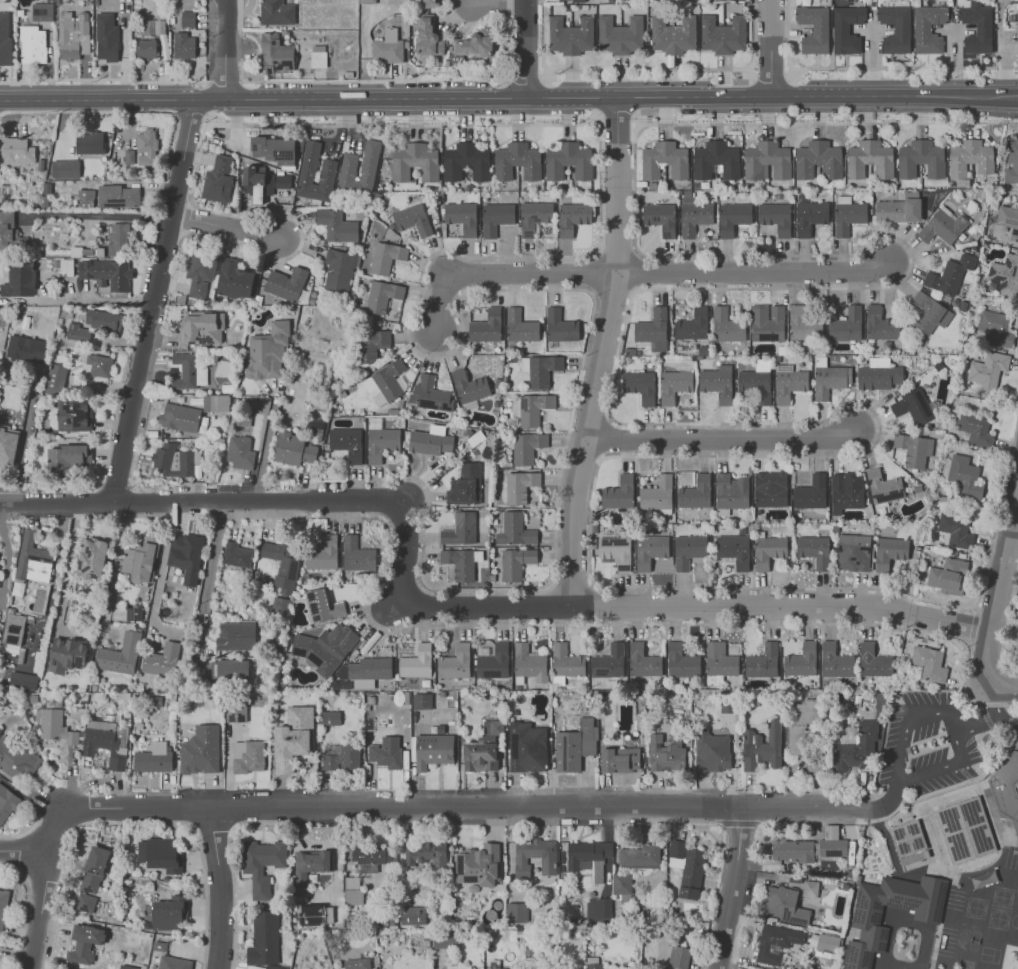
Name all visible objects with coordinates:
building: (571, 0)
building: (367, 1)
building: (428, 3)
road: (496, 6)
building: (42, 12)
building: (276, 12)
building: (1017, 17)
building: (187, 19)
building: (976, 26)
building: (154, 27)
building: (846, 28)
building: (895, 28)
building: (928, 28)
building: (814, 29)
building: (619, 34)
building: (672, 34)
building: (722, 34)
building: (73, 35)
building: (570, 35)
building: (428, 36)
road: (542, 36)
building: (107, 37)
road: (752, 37)
building: (5, 38)
building: (33, 45)
building: (184, 45)
building: (472, 45)
building: (387, 46)
road: (528, 46)
road: (770, 46)
road: (226, 47)
road: (1000, 47)
building: (146, 49)
building: (275, 54)
road: (899, 67)
road: (646, 69)
road: (104, 79)
road: (770, 80)
road: (224, 81)
road: (377, 81)
road: (524, 82)
road: (764, 93)
road: (198, 94)
road: (463, 94)
road: (1009, 94)
road: (86, 111)
road: (616, 112)
road: (190, 113)
road: (823, 122)
road: (402, 125)
building: (89, 142)
building: (147, 147)
building: (274, 149)
building: (18, 151)
building: (129, 156)
building: (971, 158)
building: (869, 159)
building: (921, 159)
building: (665, 160)
building: (716, 160)
building: (767, 160)
building: (818, 160)
building: (466, 161)
building: (517, 161)
building: (569, 161)
building: (414, 162)
building: (1012, 162)
building: (360, 168)
building: (65, 169)
building: (307, 172)
building: (218, 180)
building: (283, 181)
building: (254, 182)
building: (119, 196)
building: (85, 197)
building: (899, 209)
building: (694, 215)
building: (848, 215)
road: (100, 216)
building: (534, 216)
building: (810, 216)
building: (462, 217)
building: (573, 217)
building: (733, 217)
building: (776, 217)
building: (496, 218)
building: (661, 218)
building: (413, 219)
building: (1009, 221)
building: (337, 226)
building: (943, 226)
building: (6, 228)
road: (228, 229)
building: (118, 239)
building: (386, 257)
building: (340, 269)
building: (200, 273)
building: (108, 274)
road: (756, 274)
building: (950, 274)
road: (502, 275)
building: (1005, 275)
building: (234, 279)
building: (19, 280)
building: (286, 283)
road: (156, 289)
building: (382, 296)
road: (103, 301)
building: (929, 313)
building: (103, 321)
building: (767, 322)
building: (846, 324)
building: (881, 324)
building: (693, 325)
building: (803, 325)
building: (487, 326)
building: (520, 326)
building: (560, 326)
building: (727, 326)
building: (202, 328)
building: (996, 328)
building: (653, 329)
building: (78, 332)
building: (374, 344)
building: (26, 348)
building: (268, 351)
road: (603, 351)
building: (99, 365)
building: (540, 369)
building: (988, 370)
building: (189, 371)
building: (55, 377)
building: (830, 380)
building: (385, 383)
building: (718, 383)
building: (789, 383)
building: (674, 385)
building: (755, 385)
building: (470, 386)
building: (640, 386)
building: (431, 394)
building: (216, 403)
building: (913, 406)
building: (259, 407)
building: (532, 408)
building: (73, 415)
building: (180, 417)
building: (976, 429)
road: (722, 439)
building: (380, 440)
building: (431, 441)
road: (265, 443)
building: (347, 443)
building: (8, 447)
building: (527, 447)
building: (293, 449)
building: (914, 449)
road: (22, 450)
building: (240, 452)
building: (67, 458)
building: (175, 460)
building: (965, 477)
building: (464, 484)
building: (520, 486)
building: (884, 487)
building: (770, 489)
building: (731, 491)
building: (846, 491)
building: (696, 492)
building: (619, 493)
building: (811, 493)
building: (658, 495)
road: (157, 503)
road: (360, 505)
road: (1014, 525)
road: (62, 527)
building: (460, 529)
building: (956, 529)
building: (515, 530)
building: (650, 550)
building: (688, 550)
building: (735, 550)
building: (815, 550)
building: (616, 551)
building: (768, 551)
building: (853, 552)
building: (890, 552)
building: (323, 554)
building: (357, 554)
building: (236, 555)
building: (186, 556)
building: (91, 558)
building: (140, 560)
building: (31, 561)
building: (462, 563)
building: (516, 563)
road: (68, 564)
building: (282, 565)
road: (163, 566)
road: (113, 573)
building: (947, 575)
road: (54, 584)
road: (206, 589)
road: (997, 590)
building: (280, 603)
building: (323, 606)
road: (647, 607)
building: (133, 613)
building: (13, 629)
building: (236, 636)
building: (324, 648)
building: (67, 654)
building: (120, 655)
building: (162, 660)
building: (801, 660)
building: (566, 661)
building: (643, 661)
building: (763, 661)
building: (836, 661)
building: (874, 661)
building: (417, 662)
building: (455, 662)
building: (494, 662)
building: (609, 662)
building: (682, 662)
building: (529, 663)
building: (719, 663)
building: (929, 663)
building: (233, 670)
building: (369, 671)
building: (24, 680)
road: (999, 691)
building: (422, 701)
building: (236, 713)
road: (998, 714)
building: (329, 717)
road: (978, 723)
building: (55, 726)
building: (292, 738)
building: (107, 742)
building: (575, 745)
building: (527, 747)
building: (762, 747)
building: (201, 750)
building: (431, 750)
building: (483, 750)
building: (712, 751)
building: (666, 752)
building: (248, 756)
building: (854, 756)
building: (384, 757)
building: (343, 758)
building: (17, 759)
building: (154, 759)
building: (620, 759)
road: (899, 771)
building: (1006, 789)
building: (8, 803)
road: (884, 804)
road: (134, 805)
road: (571, 808)
building: (967, 832)
building: (910, 843)
building: (809, 847)
building: (160, 854)
building: (426, 854)
building: (371, 856)
building: (535, 856)
building: (588, 856)
building: (640, 856)
building: (262, 865)
building: (310, 865)
building: (478, 865)
building: (687, 867)
building: (94, 869)
building: (980, 880)
building: (621, 885)
road: (222, 887)
building: (810, 888)
road: (730, 889)
building: (352, 890)
road: (43, 895)
building: (85, 902)
building: (784, 905)
building: (3, 906)
building: (596, 909)
building: (516, 912)
building: (169, 913)
building: (315, 915)
building: (413, 915)
building: (868, 923)
building: (445, 940)
building: (264, 942)
building: (828, 942)
building: (85, 943)
building: (776, 943)
building: (159, 945)
building: (679, 957)
building: (173, 963)
building: (357, 963)
building: (593, 966)
building: (127, 967)

